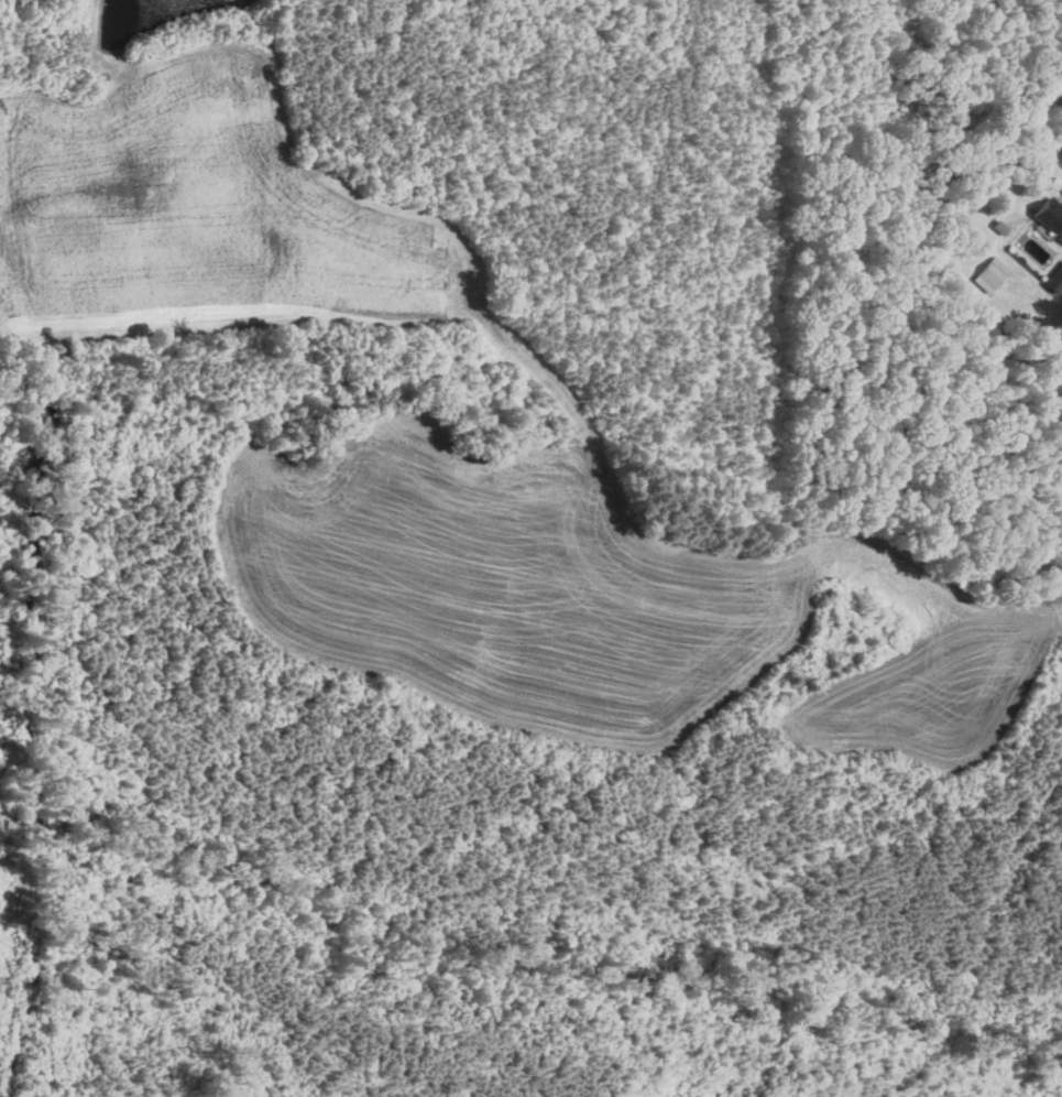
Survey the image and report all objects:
building: (1050, 216)
building: (989, 273)

